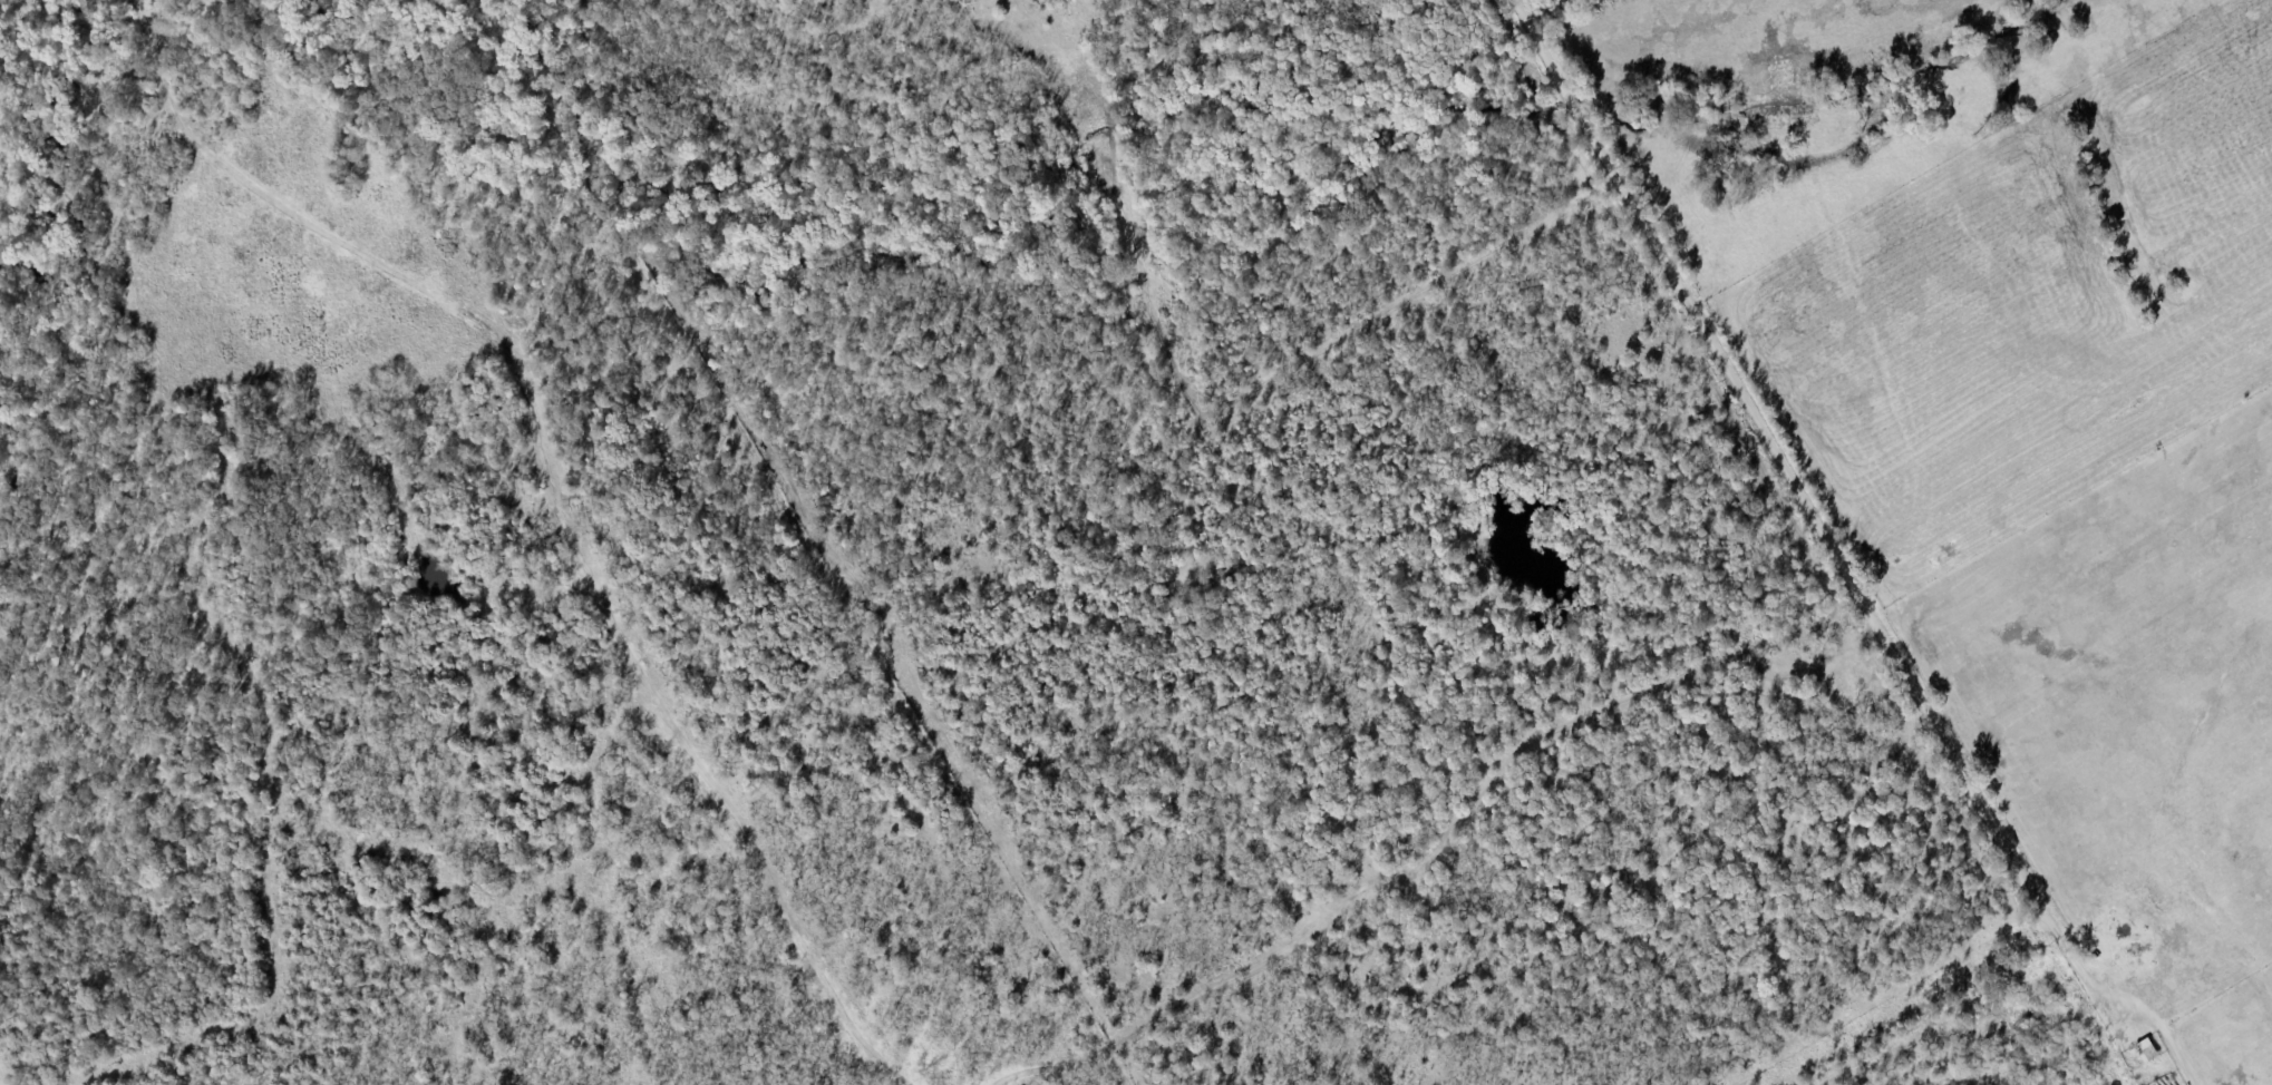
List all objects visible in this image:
road: (1793, 465)

